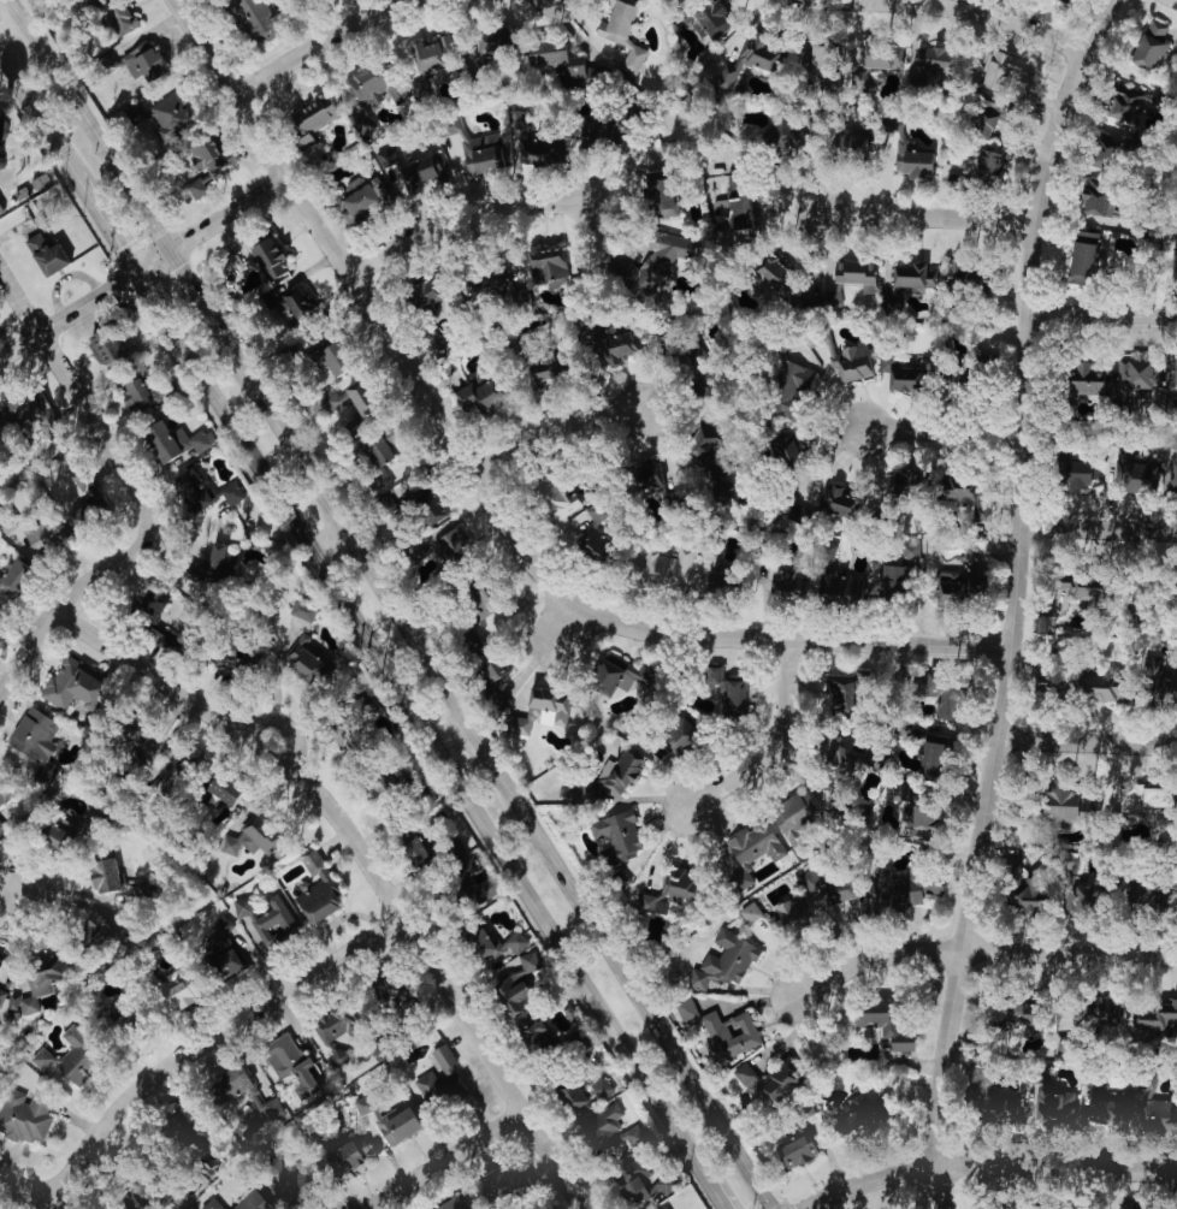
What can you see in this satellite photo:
building: (1066, 0)
building: (129, 12)
building: (253, 16)
building: (708, 18)
building: (1023, 18)
road: (1024, 18)
road: (10, 19)
building: (490, 34)
building: (617, 34)
road: (330, 40)
building: (1152, 42)
building: (544, 52)
building: (424, 54)
building: (897, 54)
building: (152, 59)
building: (930, 59)
building: (747, 60)
building: (823, 61)
building: (869, 64)
road: (4, 66)
building: (1004, 66)
building: (582, 70)
building: (421, 87)
building: (373, 88)
building: (1125, 102)
road: (37, 113)
building: (179, 115)
building: (981, 122)
building: (310, 123)
building: (6, 126)
building: (603, 135)
building: (781, 138)
building: (469, 144)
building: (860, 144)
building: (540, 149)
building: (1105, 149)
building: (910, 156)
building: (54, 165)
building: (986, 166)
building: (214, 167)
building: (408, 167)
road: (87, 190)
building: (362, 195)
building: (1093, 197)
building: (658, 202)
building: (740, 213)
road: (934, 213)
road: (467, 218)
road: (118, 238)
traffic signals: (171, 250)
building: (57, 253)
building: (661, 255)
building: (1082, 256)
building: (280, 259)
building: (1172, 260)
road: (147, 265)
building: (549, 265)
building: (769, 267)
traffic signals: (138, 271)
building: (856, 273)
building: (912, 278)
building: (495, 281)
building: (964, 283)
building: (421, 294)
building: (836, 294)
building: (310, 304)
road: (379, 307)
road: (1104, 313)
building: (615, 345)
building: (118, 348)
building: (845, 357)
building: (349, 358)
building: (540, 371)
building: (1176, 372)
building: (904, 377)
building: (1140, 377)
building: (1083, 381)
building: (791, 386)
building: (142, 391)
building: (490, 393)
building: (372, 396)
building: (632, 401)
building: (13, 413)
building: (49, 420)
building: (365, 422)
building: (2, 427)
road: (944, 428)
road: (558, 433)
building: (184, 440)
road: (117, 443)
building: (700, 443)
building: (786, 446)
building: (402, 456)
building: (1175, 472)
building: (1083, 475)
building: (1137, 476)
building: (918, 484)
building: (200, 490)
building: (237, 492)
building: (420, 492)
building: (568, 493)
building: (841, 503)
building: (983, 505)
road: (1100, 527)
building: (601, 533)
building: (46, 537)
road: (330, 543)
building: (465, 550)
building: (235, 553)
building: (672, 568)
building: (20, 577)
building: (731, 580)
building: (898, 580)
building: (1110, 587)
building: (854, 588)
building: (958, 588)
building: (501, 597)
building: (158, 601)
road: (1019, 601)
road: (392, 604)
building: (314, 611)
road: (567, 624)
road: (799, 638)
building: (172, 640)
road: (30, 654)
building: (315, 662)
building: (1157, 670)
building: (620, 674)
building: (82, 684)
building: (1118, 686)
building: (956, 688)
building: (735, 689)
building: (859, 689)
building: (540, 711)
road: (419, 719)
road: (451, 733)
building: (39, 734)
building: (674, 734)
road: (1090, 740)
road: (781, 746)
building: (836, 769)
building: (5, 792)
building: (1141, 800)
building: (1063, 811)
building: (789, 814)
building: (237, 836)
building: (613, 837)
building: (751, 842)
road: (374, 865)
building: (99, 875)
building: (615, 878)
road: (16, 883)
building: (314, 889)
building: (664, 891)
building: (851, 894)
building: (1078, 894)
building: (747, 913)
building: (253, 929)
building: (88, 930)
road: (978, 950)
building: (723, 961)
building: (25, 983)
building: (377, 985)
building: (516, 994)
building: (166, 995)
building: (1125, 1018)
building: (995, 1021)
building: (880, 1025)
building: (325, 1029)
building: (724, 1035)
road: (190, 1047)
building: (285, 1062)
building: (60, 1065)
building: (433, 1078)
building: (765, 1079)
building: (1041, 1091)
building: (576, 1096)
building: (1099, 1102)
building: (268, 1109)
building: (995, 1109)
building: (22, 1116)
building: (863, 1122)
building: (394, 1124)
building: (619, 1154)
building: (791, 1154)
building: (345, 1157)
road: (455, 1160)
road: (1058, 1167)
road: (870, 1179)
building: (497, 1185)
road: (714, 1187)
building: (248, 1202)
building: (451, 1203)
building: (663, 1208)

